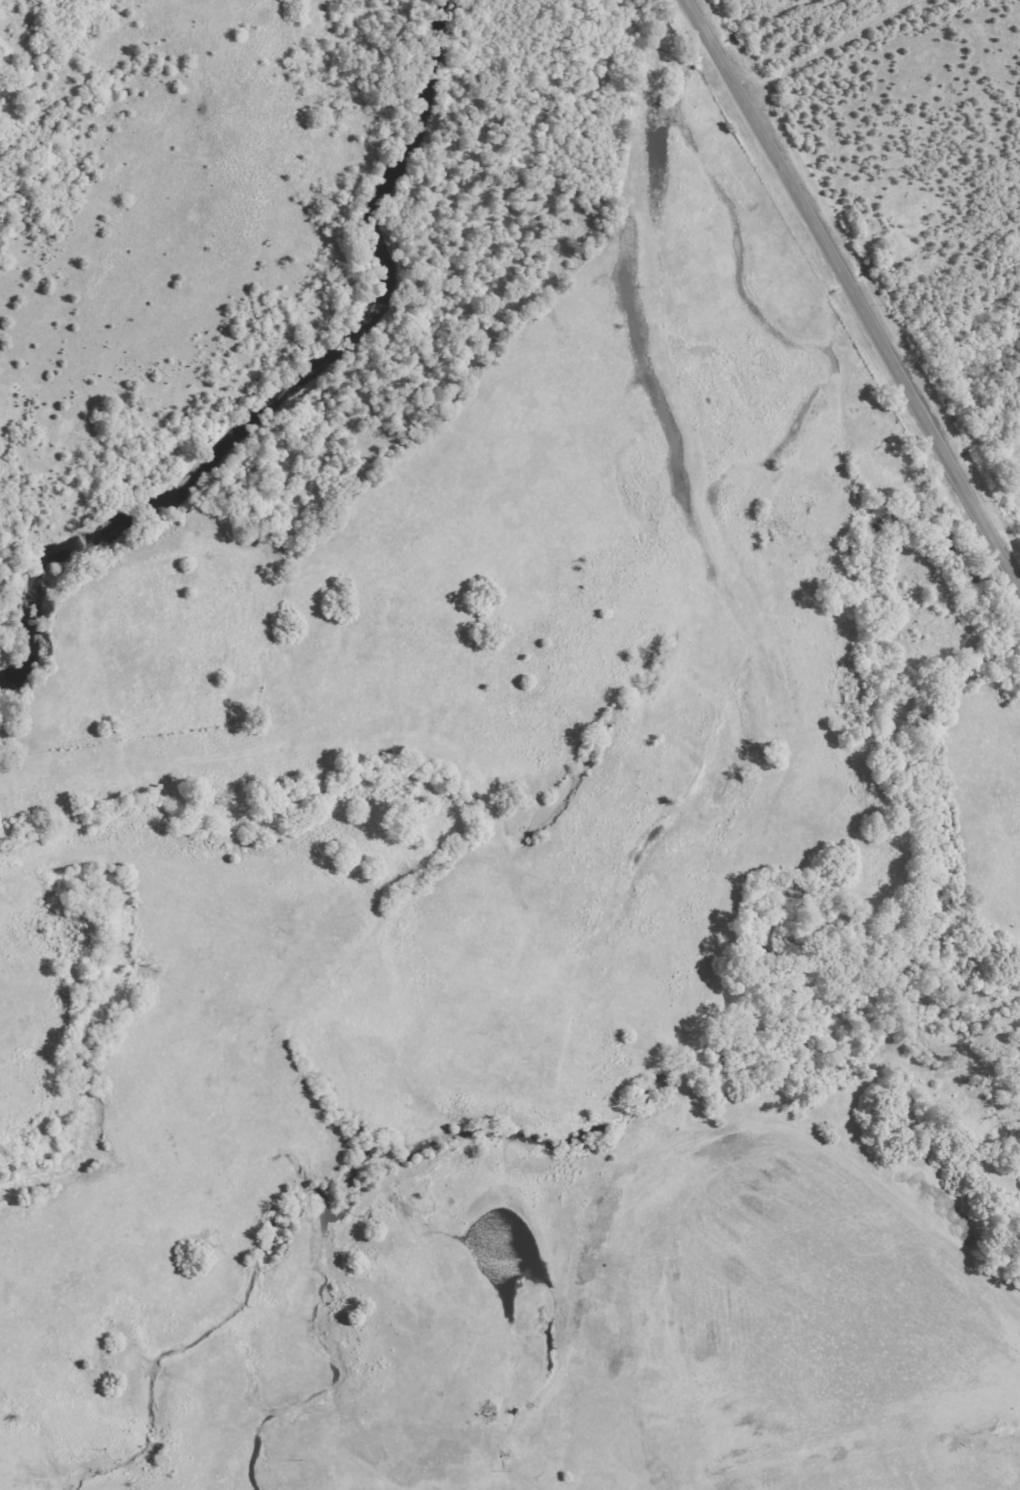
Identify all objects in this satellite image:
road: (854, 293)

